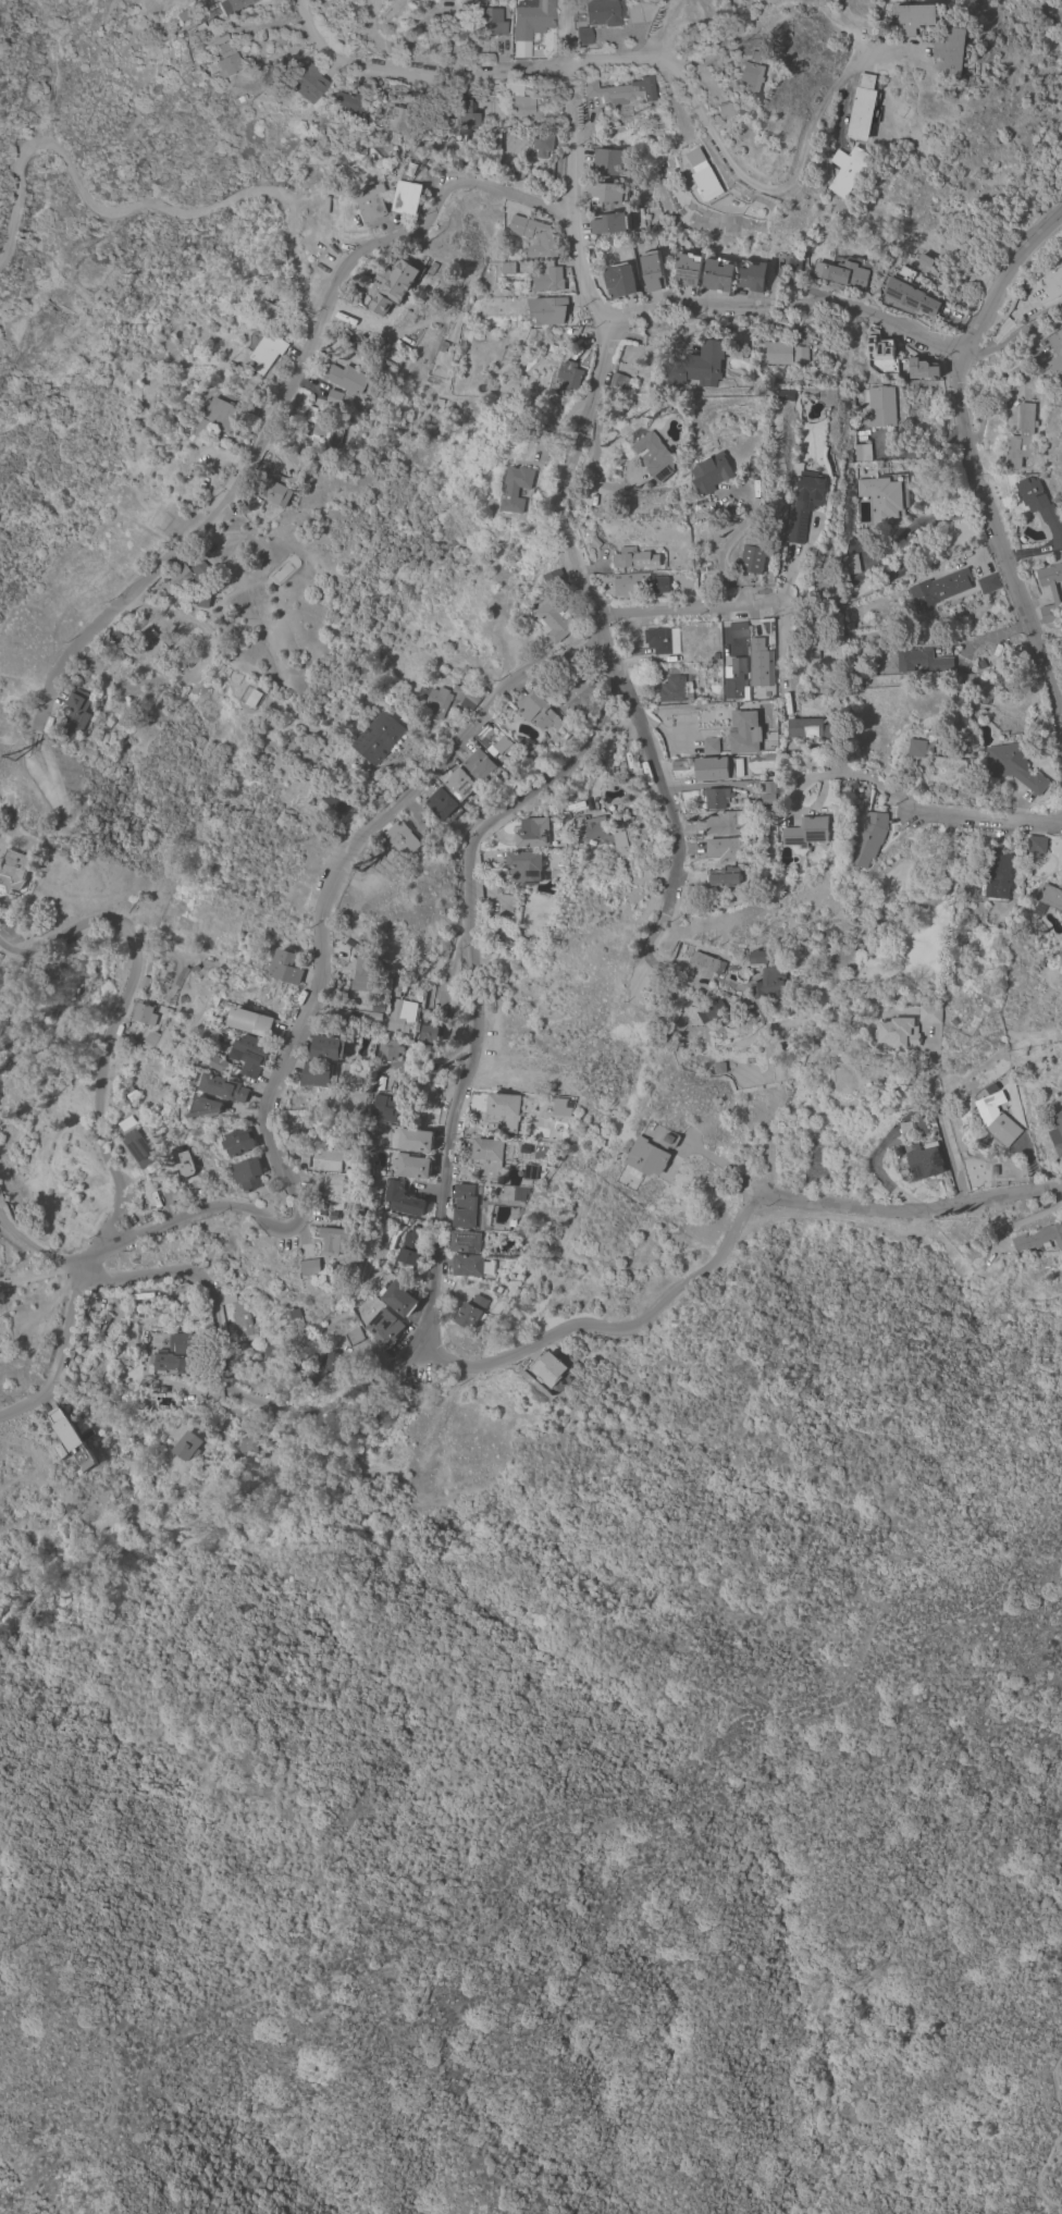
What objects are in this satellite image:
building: (447, 0)
building: (229, 5)
road: (1051, 11)
building: (604, 12)
building: (531, 17)
building: (914, 17)
building: (486, 19)
building: (198, 27)
road: (273, 27)
road: (677, 29)
building: (583, 36)
building: (218, 37)
building: (953, 51)
building: (225, 60)
road: (665, 62)
building: (751, 75)
building: (306, 82)
building: (396, 90)
building: (620, 90)
road: (847, 99)
building: (518, 100)
building: (344, 104)
building: (862, 108)
building: (724, 110)
building: (362, 114)
building: (462, 119)
building: (393, 124)
building: (501, 127)
building: (497, 144)
building: (543, 145)
building: (420, 153)
building: (694, 157)
building: (607, 161)
building: (498, 163)
building: (845, 169)
road: (1022, 169)
building: (411, 170)
building: (707, 184)
building: (607, 193)
building: (407, 197)
building: (371, 201)
road: (135, 204)
road: (571, 214)
building: (610, 223)
building: (534, 236)
building: (792, 265)
building: (431, 268)
building: (688, 268)
building: (508, 269)
building: (651, 270)
building: (844, 272)
building: (717, 274)
building: (751, 275)
building: (547, 279)
building: (619, 280)
building: (1053, 283)
building: (391, 284)
building: (907, 292)
building: (263, 303)
road: (856, 308)
building: (546, 311)
road: (305, 319)
road: (1012, 337)
building: (442, 346)
building: (878, 348)
building: (514, 349)
building: (1055, 352)
building: (783, 353)
building: (264, 354)
building: (697, 366)
building: (923, 369)
building: (505, 374)
building: (569, 376)
building: (347, 379)
building: (617, 382)
building: (749, 383)
building: (786, 394)
building: (334, 397)
road: (280, 398)
building: (437, 402)
building: (319, 404)
building: (880, 406)
building: (406, 409)
building: (219, 419)
building: (433, 423)
building: (323, 425)
building: (435, 433)
building: (1020, 438)
building: (861, 453)
building: (655, 457)
building: (756, 464)
building: (713, 472)
building: (516, 488)
building: (275, 491)
building: (885, 495)
building: (804, 503)
building: (1040, 508)
road: (563, 524)
road: (918, 526)
building: (595, 542)
road: (1001, 542)
road: (718, 557)
building: (630, 558)
building: (751, 559)
building: (849, 564)
building: (190, 574)
building: (554, 579)
building: (987, 583)
building: (639, 585)
building: (939, 588)
building: (1049, 589)
building: (202, 601)
road: (689, 611)
building: (556, 619)
building: (738, 629)
building: (146, 636)
building: (115, 638)
building: (657, 640)
building: (813, 650)
building: (715, 655)
building: (919, 661)
building: (760, 663)
building: (980, 664)
building: (873, 668)
building: (736, 680)
building: (671, 689)
building: (577, 696)
building: (456, 697)
building: (252, 698)
building: (985, 699)
building: (437, 702)
building: (469, 702)
road: (1059, 710)
building: (77, 712)
building: (540, 712)
building: (813, 728)
building: (743, 731)
building: (379, 738)
building: (934, 738)
building: (494, 741)
building: (528, 746)
building: (711, 747)
building: (917, 748)
building: (769, 758)
power tower: (30, 761)
building: (679, 765)
building: (480, 766)
building: (1014, 766)
building: (718, 768)
building: (950, 772)
road: (813, 774)
building: (771, 777)
building: (460, 784)
road: (709, 784)
building: (853, 786)
building: (769, 787)
road: (662, 791)
building: (715, 798)
building: (768, 799)
building: (336, 800)
building: (751, 803)
building: (443, 805)
road: (979, 816)
building: (723, 823)
building: (596, 831)
building: (807, 832)
building: (533, 833)
building: (869, 837)
building: (402, 838)
building: (1037, 845)
building: (725, 849)
building: (524, 866)
power tower: (373, 872)
building: (14, 873)
building: (998, 874)
building: (724, 876)
building: (1050, 897)
building: (965, 906)
road: (909, 911)
building: (827, 935)
road: (9, 942)
building: (355, 946)
building: (706, 962)
building: (286, 968)
building: (193, 969)
building: (766, 974)
building: (362, 975)
building: (180, 976)
building: (845, 980)
building: (143, 984)
building: (399, 985)
building: (379, 1008)
building: (709, 1011)
building: (143, 1013)
building: (929, 1014)
building: (374, 1016)
building: (402, 1016)
building: (251, 1021)
building: (429, 1033)
building: (898, 1033)
road: (108, 1034)
building: (150, 1038)
building: (328, 1047)
building: (388, 1049)
building: (251, 1054)
building: (221, 1065)
building: (718, 1068)
road: (474, 1072)
building: (317, 1073)
road: (277, 1078)
building: (1012, 1086)
building: (225, 1087)
building: (206, 1107)
building: (560, 1107)
building: (385, 1108)
building: (505, 1111)
building: (997, 1119)
road: (939, 1120)
building: (918, 1123)
building: (1057, 1133)
building: (557, 1134)
building: (415, 1140)
building: (239, 1142)
building: (135, 1144)
building: (652, 1151)
building: (490, 1155)
building: (900, 1157)
building: (324, 1159)
road: (713, 1159)
building: (925, 1163)
building: (186, 1166)
building: (412, 1166)
building: (532, 1171)
building: (248, 1174)
building: (629, 1177)
building: (334, 1184)
building: (522, 1193)
building: (400, 1200)
building: (465, 1206)
road: (906, 1209)
building: (514, 1221)
building: (492, 1237)
building: (1039, 1238)
building: (335, 1241)
building: (466, 1241)
building: (410, 1245)
building: (311, 1266)
building: (472, 1266)
building: (498, 1289)
road: (668, 1294)
building: (398, 1299)
building: (472, 1312)
building: (294, 1318)
building: (240, 1319)
building: (384, 1328)
road: (217, 1331)
building: (354, 1336)
building: (186, 1344)
building: (271, 1351)
building: (333, 1362)
building: (170, 1364)
building: (546, 1368)
building: (73, 1439)
building: (251, 1442)
building: (186, 1446)
road: (1058, 2082)
road: (1045, 2178)

